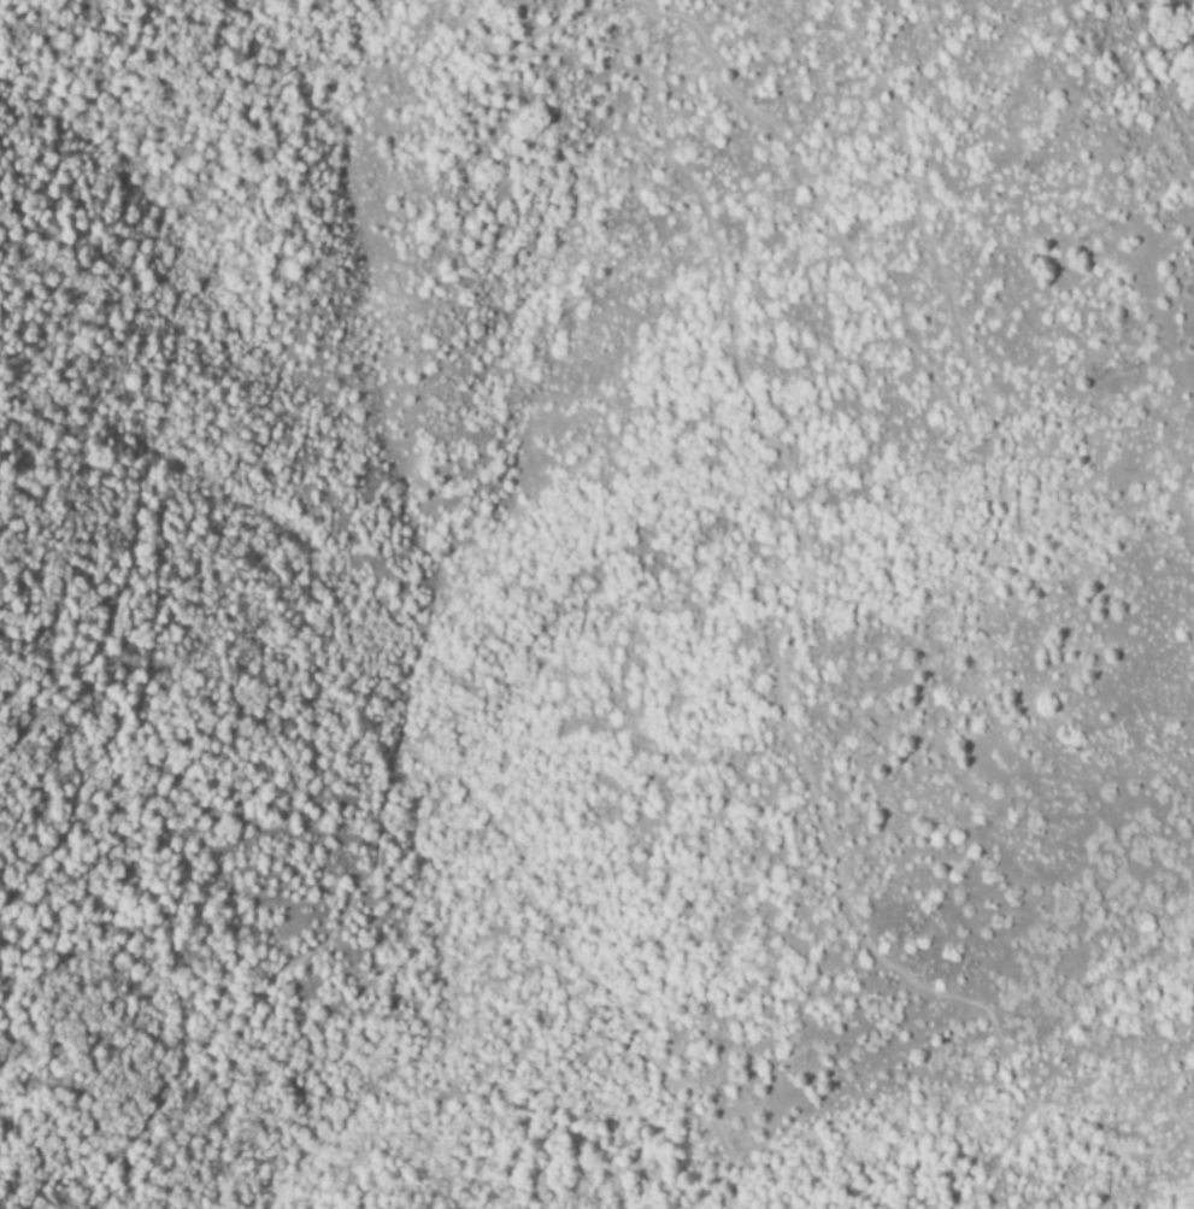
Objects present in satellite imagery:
road: (5, 2)
road: (792, 501)
road: (988, 507)
road: (151, 513)
road: (386, 767)

